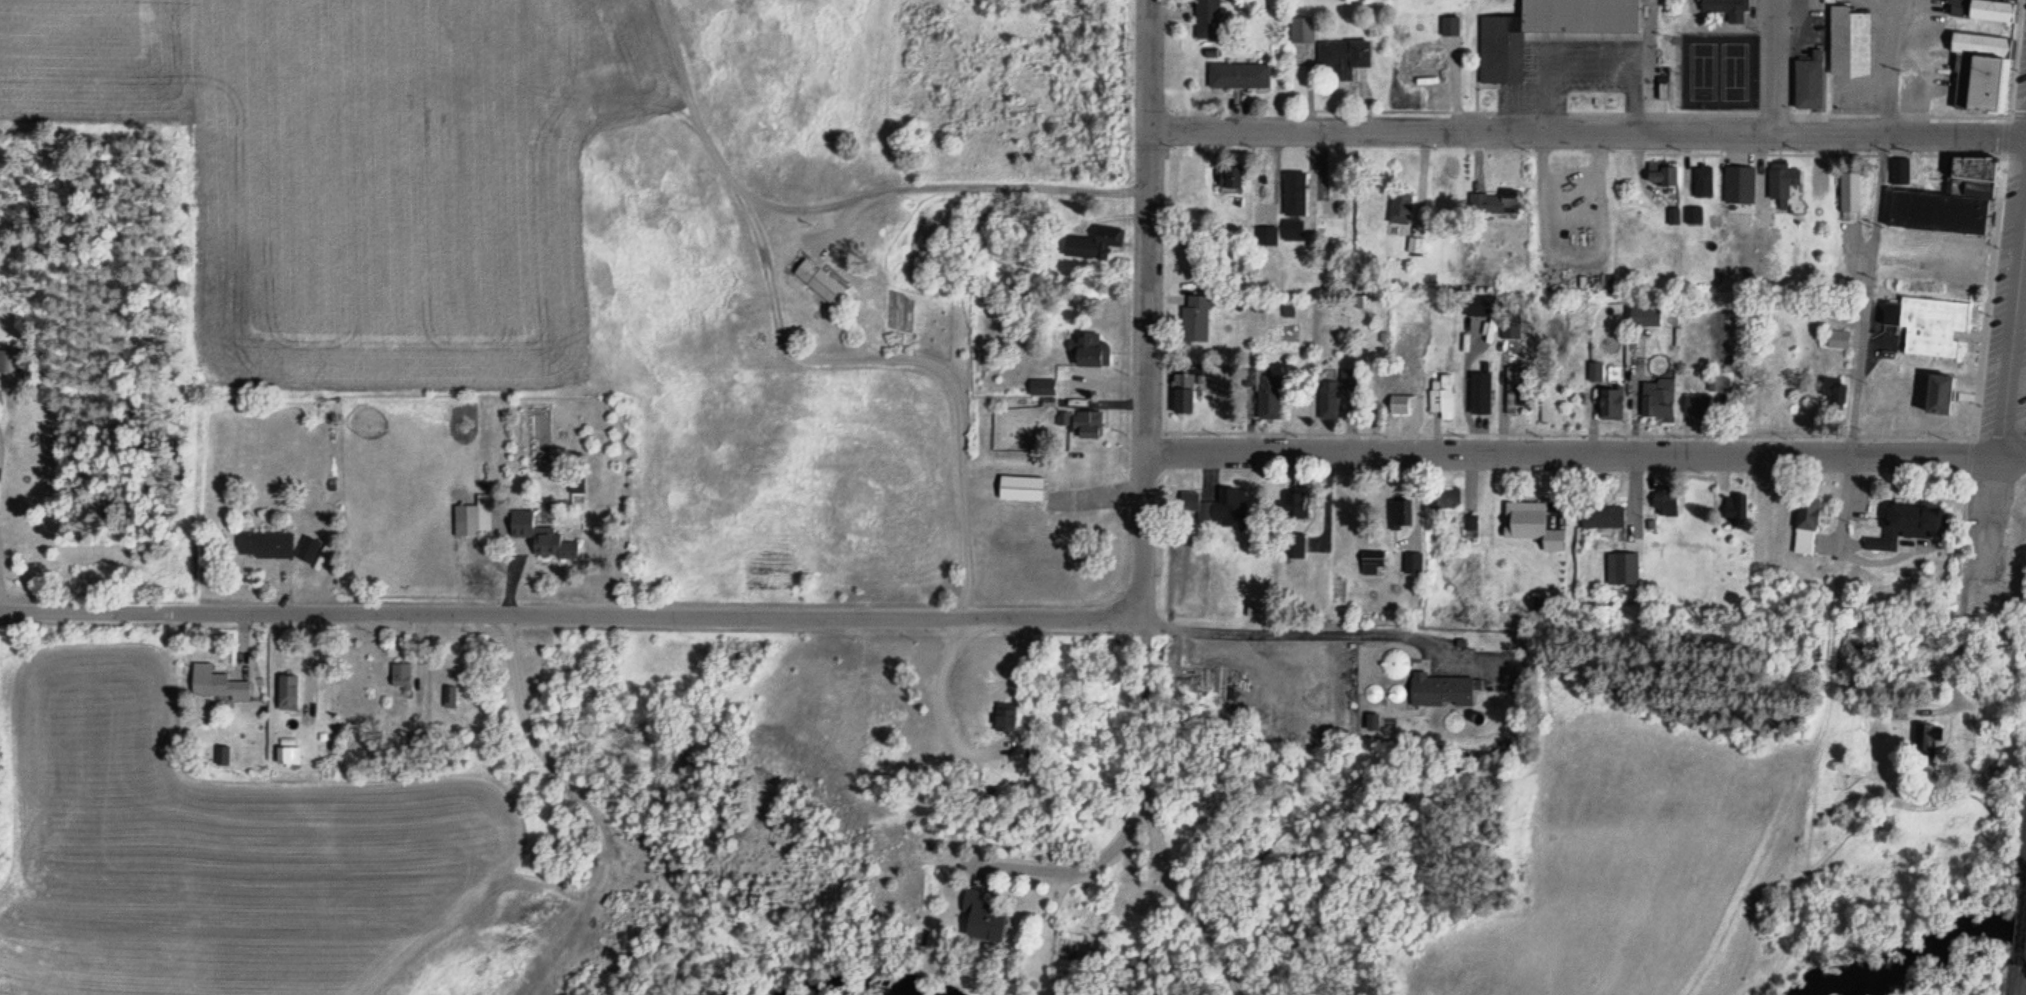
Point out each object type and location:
building: (1725, 9)
building: (1982, 10)
building: (1207, 19)
building: (1546, 30)
building: (1301, 31)
building: (1848, 43)
building: (1341, 57)
building: (1423, 63)
road: (1893, 65)
road: (1776, 66)
building: (1979, 73)
building: (1238, 76)
building: (1808, 80)
road: (1590, 132)
building: (1896, 169)
building: (1661, 175)
building: (1735, 175)
building: (1231, 178)
building: (1971, 180)
building: (1702, 181)
building: (1589, 187)
building: (1785, 187)
building: (696, 191)
building: (1262, 191)
building: (1847, 191)
building: (1293, 194)
building: (1331, 196)
building: (1491, 205)
building: (1399, 209)
building: (1939, 213)
building: (1765, 219)
building: (1292, 231)
building: (1265, 237)
building: (1592, 239)
building: (1092, 244)
building: (817, 282)
road: (1868, 292)
road: (768, 301)
building: (1477, 307)
road: (1159, 308)
building: (1643, 316)
building: (1926, 319)
road: (1135, 320)
building: (1194, 320)
building: (1838, 341)
building: (1089, 352)
building: (8, 362)
building: (1941, 384)
building: (1040, 388)
building: (1512, 392)
building: (1479, 394)
building: (1833, 394)
building: (1181, 395)
building: (1263, 395)
building: (1333, 395)
building: (1442, 397)
building: (1657, 399)
building: (1707, 402)
building: (1400, 405)
building: (1609, 405)
building: (1085, 426)
road: (1585, 453)
road: (2000, 453)
building: (575, 485)
building: (1021, 488)
building: (1293, 498)
building: (1439, 498)
building: (1662, 498)
building: (1217, 501)
building: (1732, 501)
building: (1399, 506)
building: (1599, 513)
building: (472, 519)
building: (1909, 520)
building: (1529, 522)
building: (1804, 522)
building: (1466, 524)
building: (539, 536)
building: (1291, 540)
building: (263, 545)
building: (1371, 557)
building: (1410, 557)
building: (1618, 565)
building: (1250, 605)
road: (102, 612)
road: (853, 619)
building: (400, 677)
building: (214, 684)
building: (1438, 686)
building: (287, 694)
building: (449, 698)
building: (1924, 741)
road: (1144, 744)
railway: (2025, 883)
building: (981, 912)
railway: (2021, 926)
river: (1920, 947)
railway: (2016, 980)
river: (861, 986)

